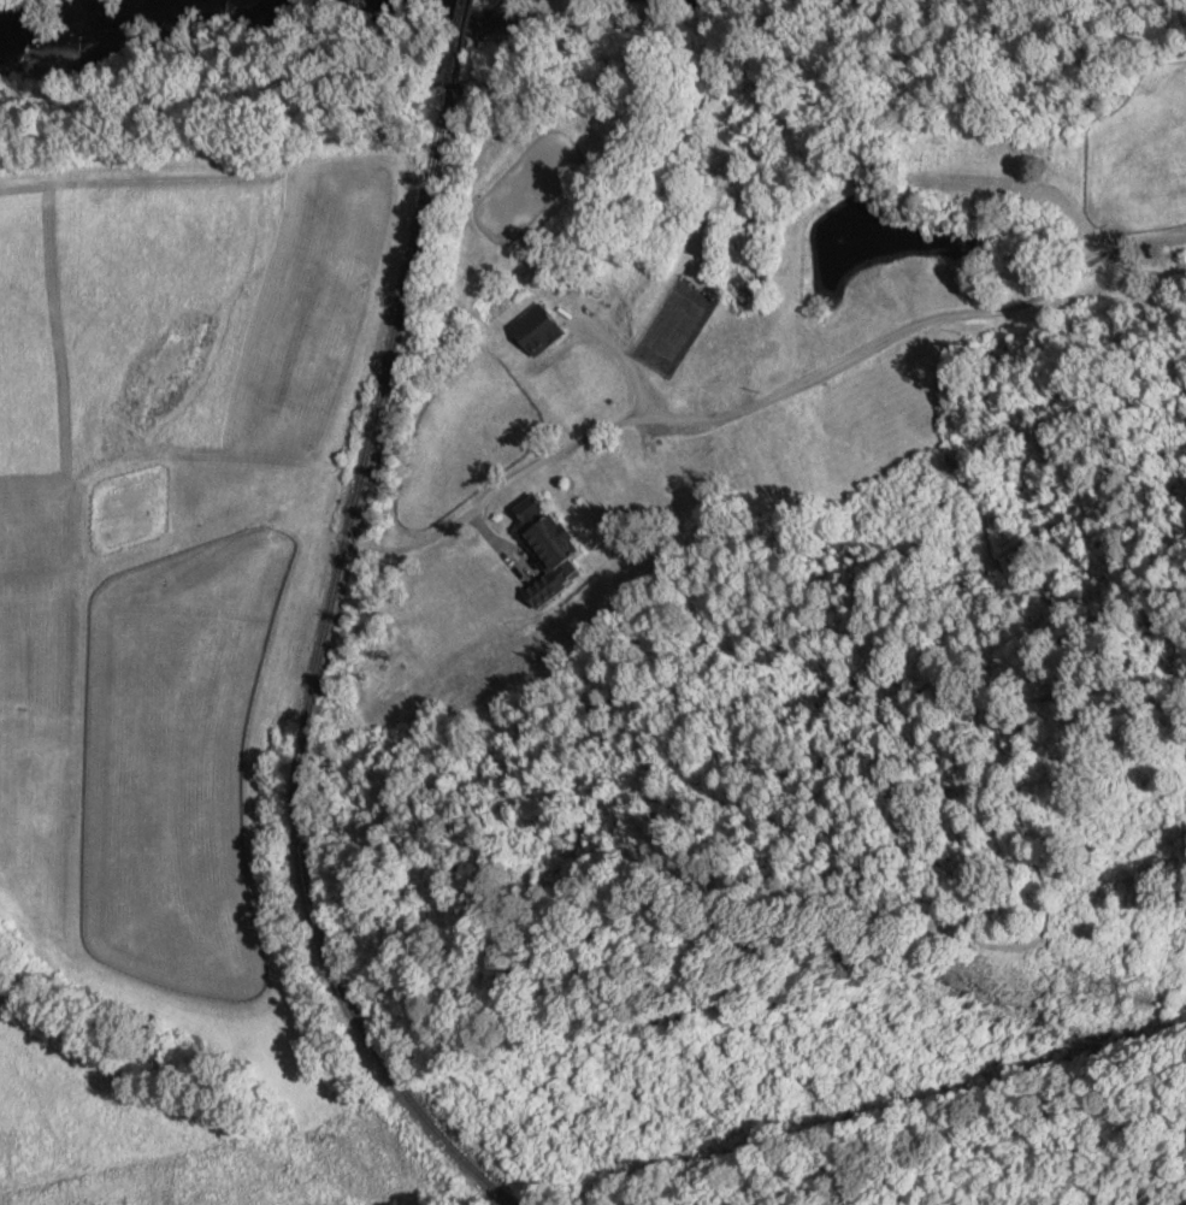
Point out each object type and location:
river: (107, 12)
railway: (460, 43)
park: (674, 321)
building: (535, 330)
road: (899, 332)
building: (541, 533)
railway: (319, 672)
power tower: (1134, 994)

